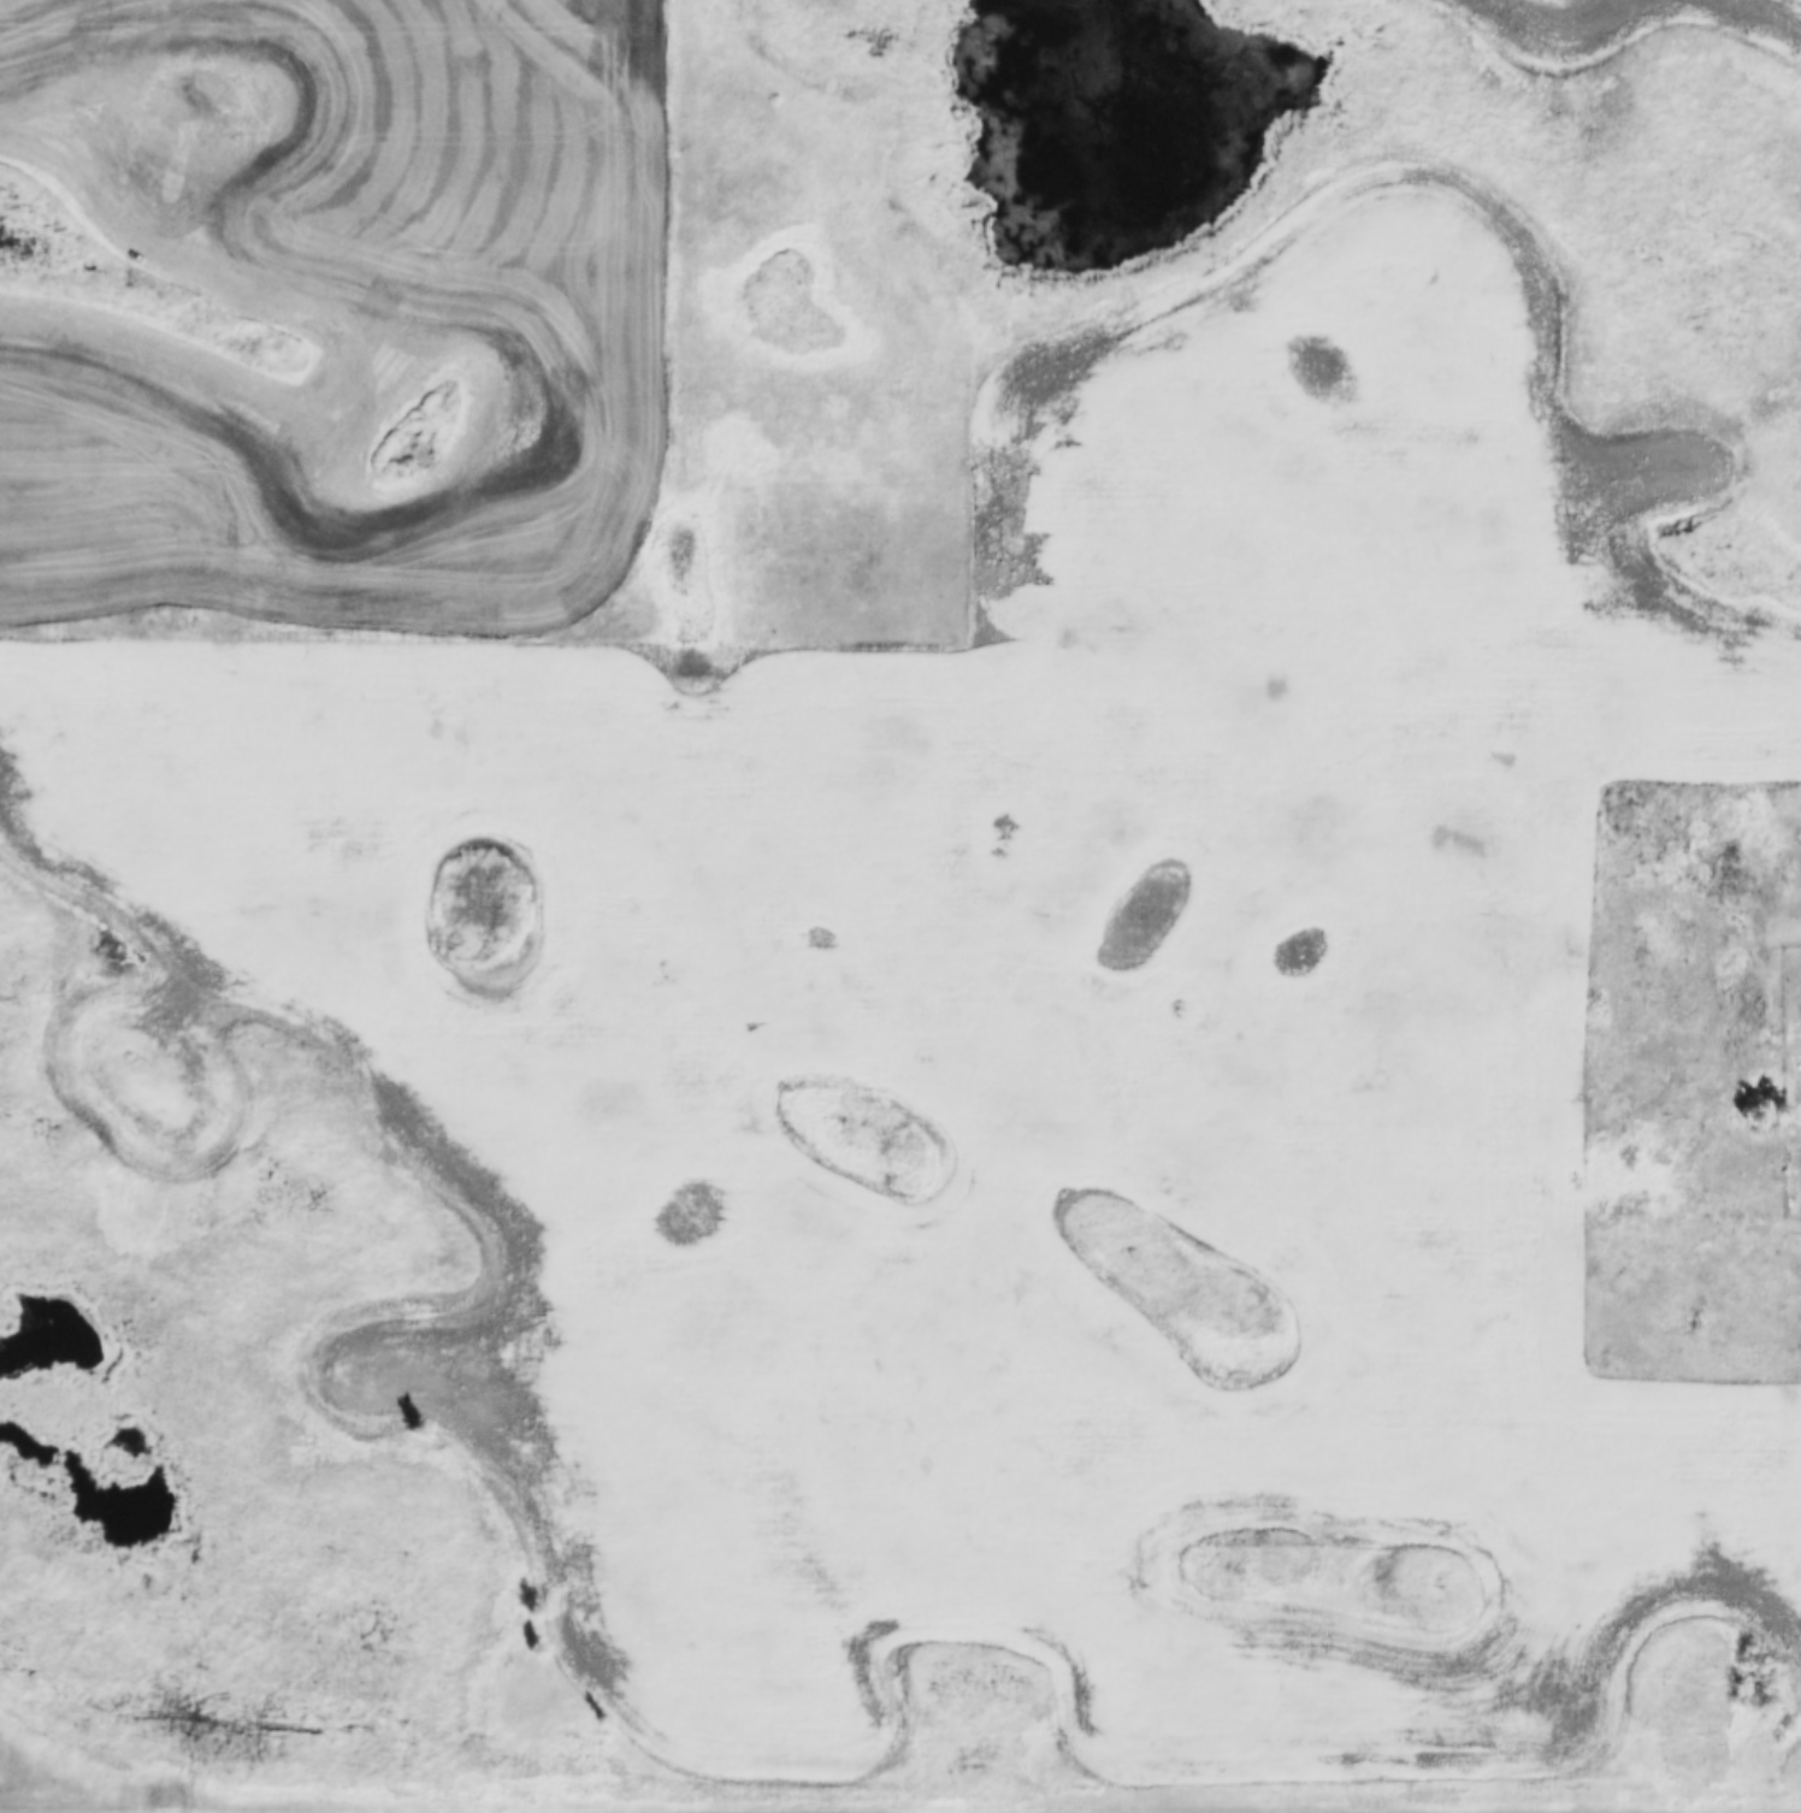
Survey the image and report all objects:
building: (1732, 839)
building: (1725, 850)
building: (1797, 994)

